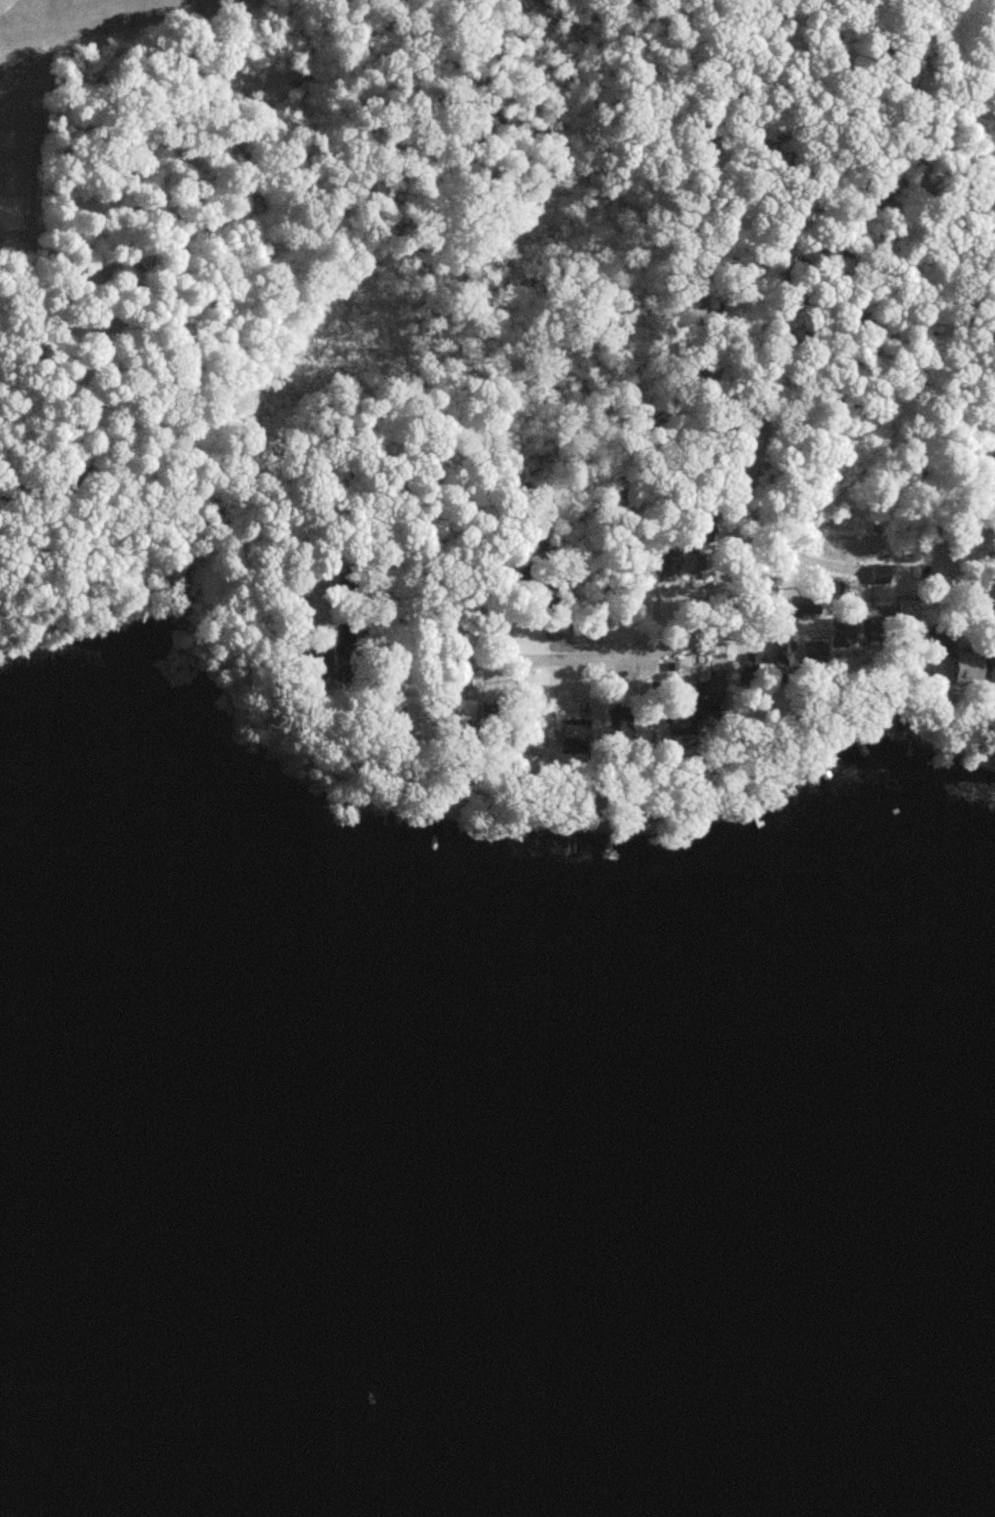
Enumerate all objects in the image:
road: (888, 432)
road: (730, 478)
building: (881, 581)
building: (812, 607)
building: (844, 635)
building: (978, 667)
building: (580, 726)

